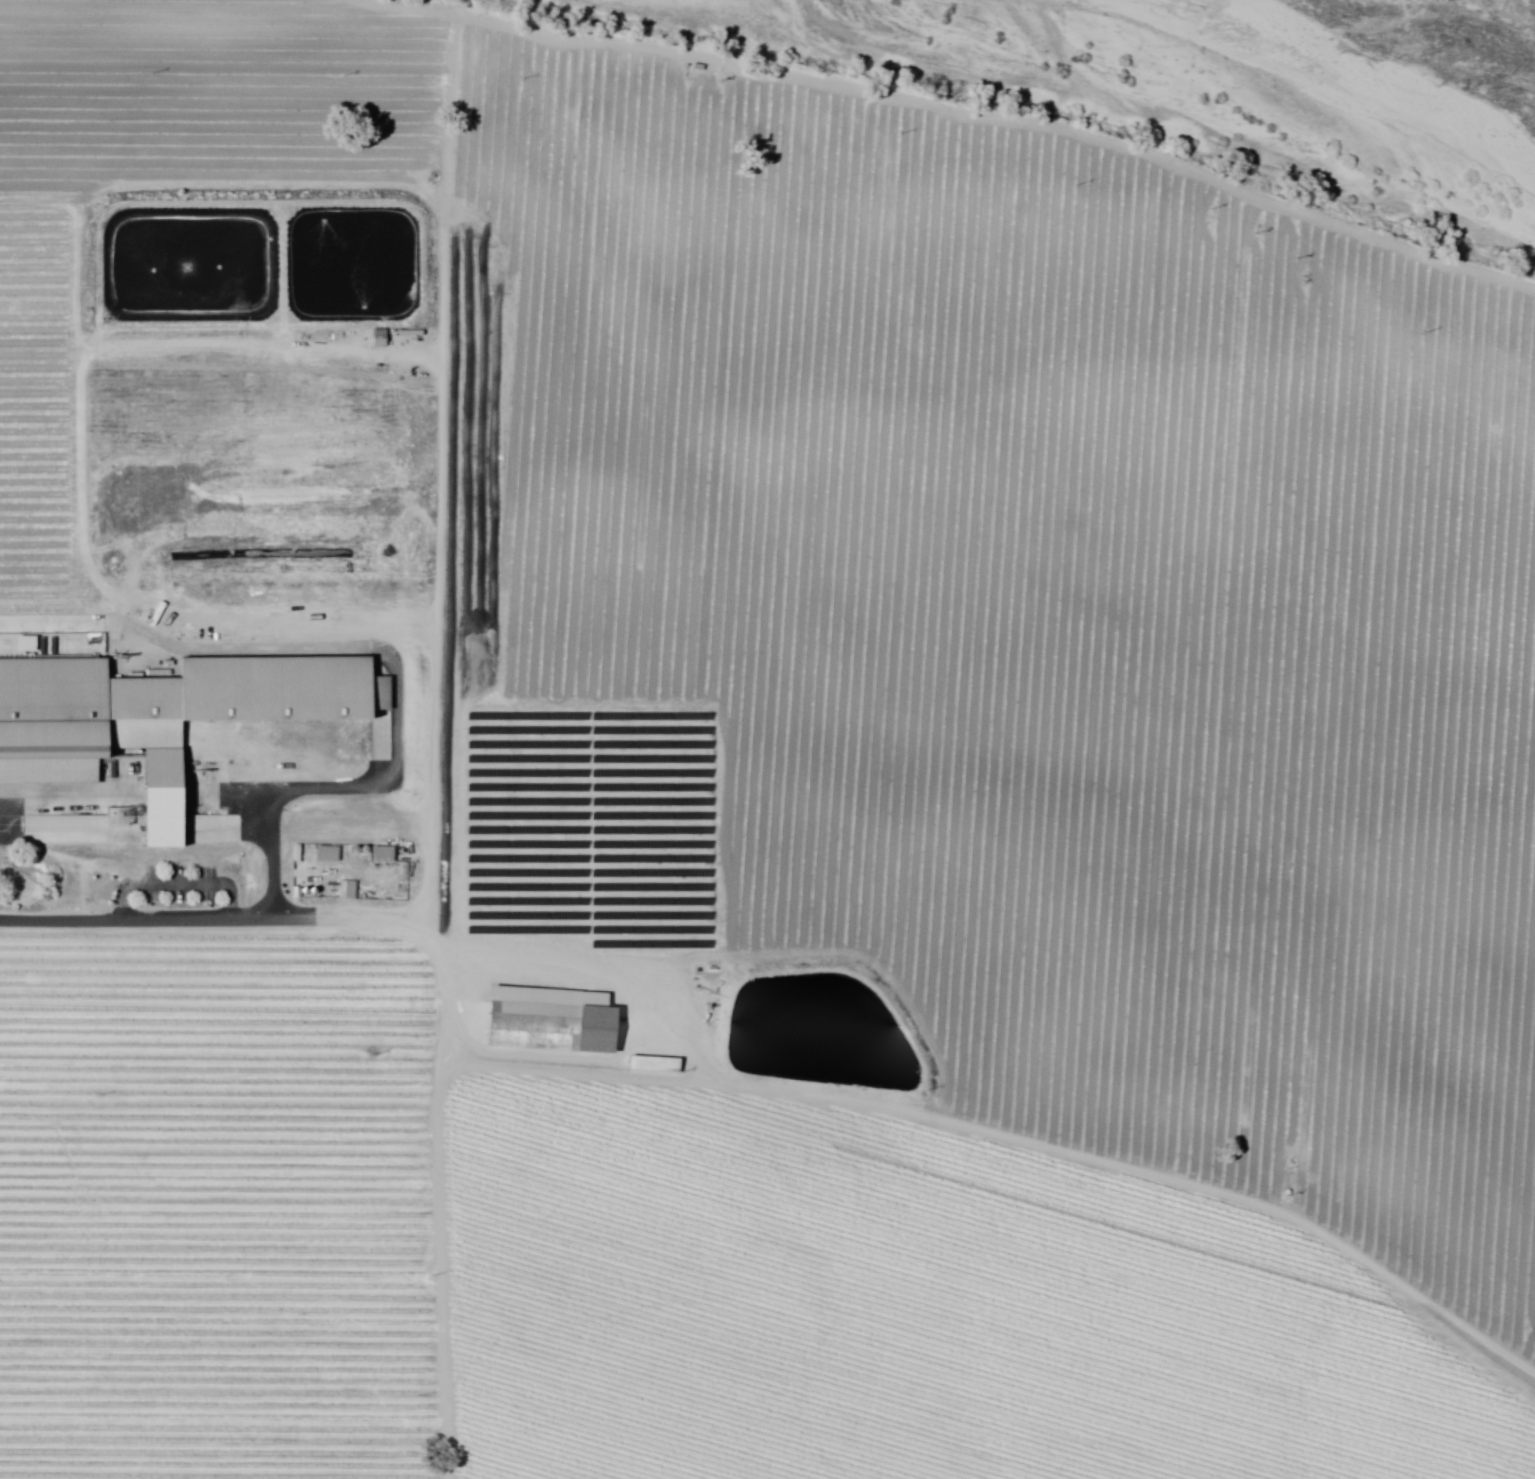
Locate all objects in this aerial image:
river: (1362, 80)
crop: (214, 99)
crop: (154, 434)
crop: (1007, 623)
building: (162, 708)
building: (320, 856)
building: (376, 856)
road: (279, 876)
building: (339, 892)
building: (551, 1020)
building: (666, 1065)
crop: (220, 1205)
crop: (911, 1309)

